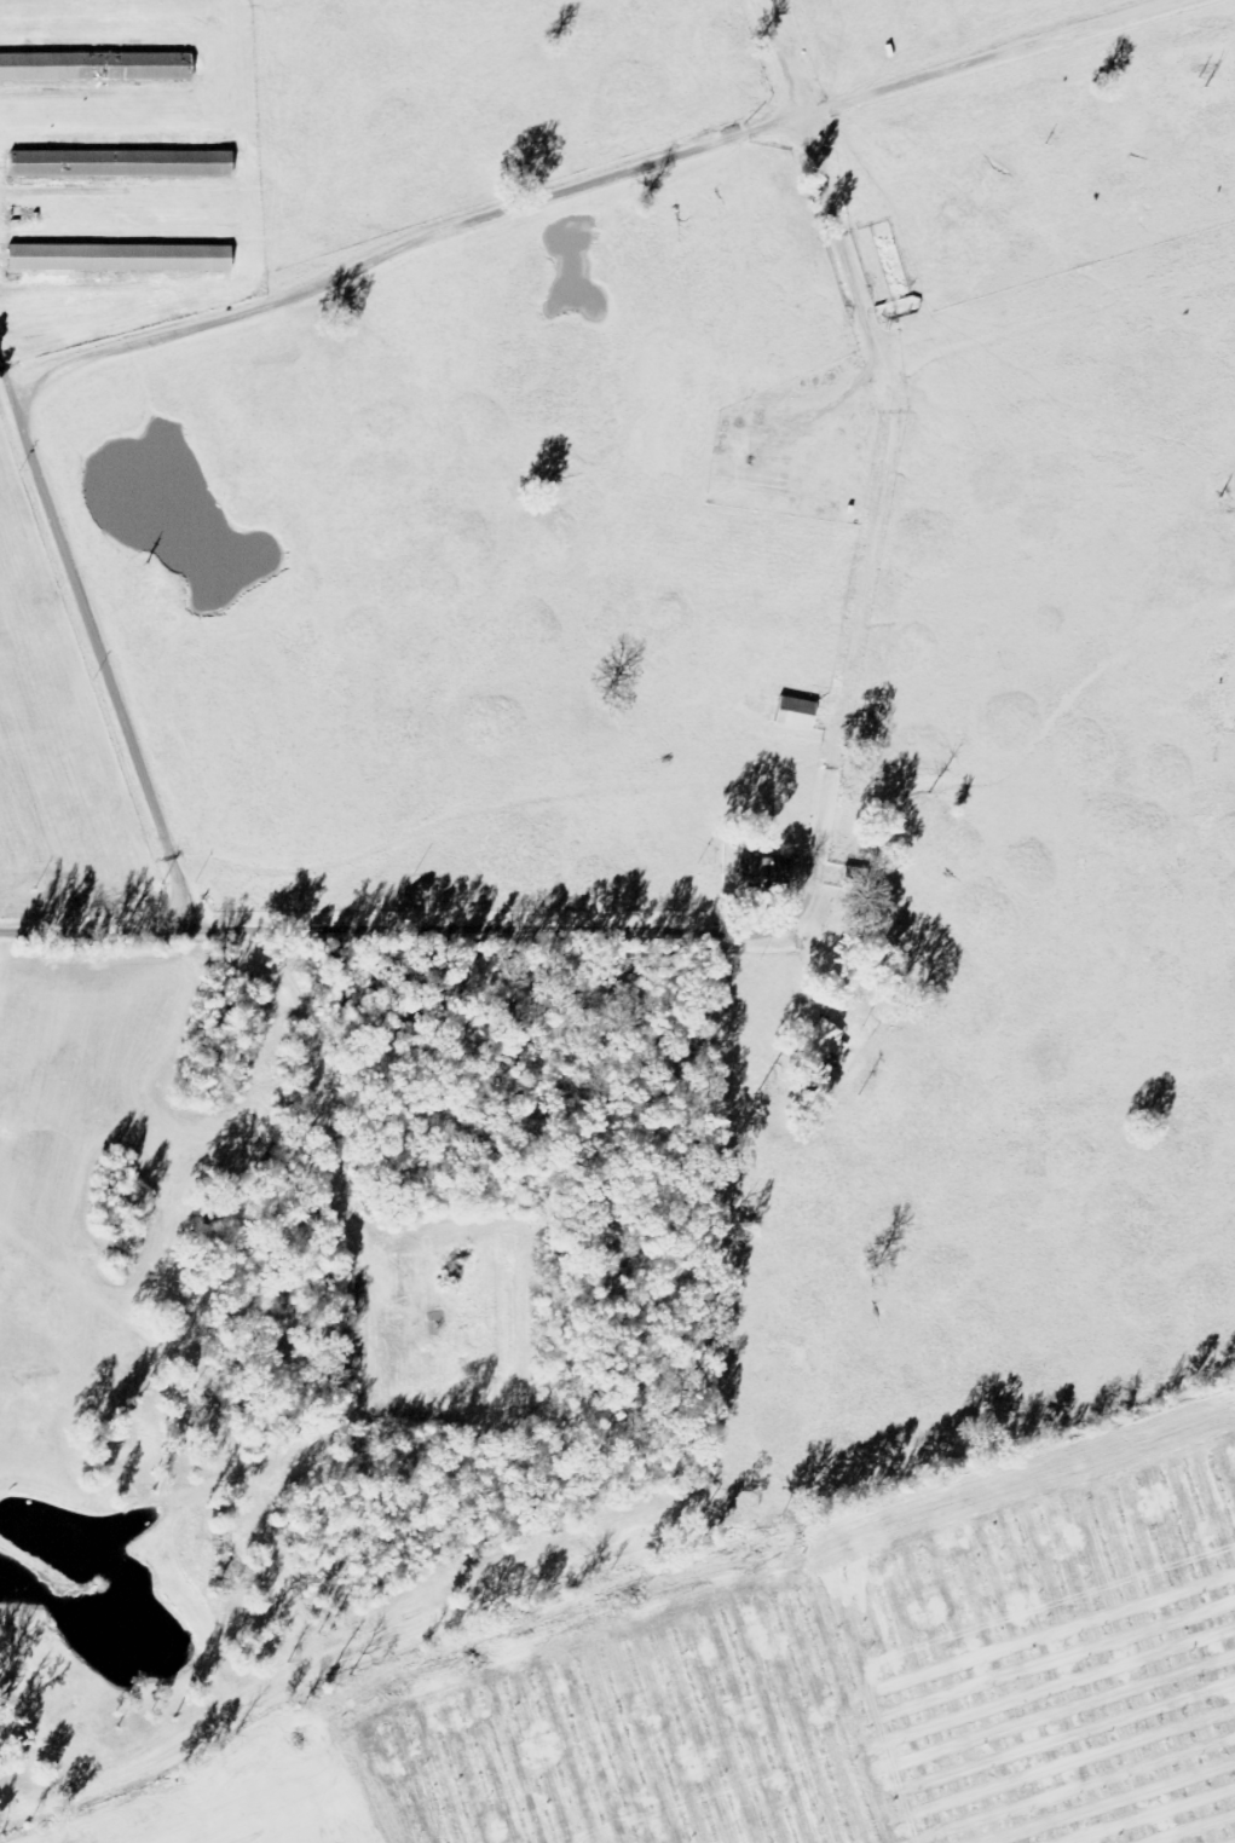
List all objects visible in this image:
building: (96, 68)
building: (120, 166)
road: (440, 226)
building: (119, 260)
road: (102, 657)
building: (795, 713)
building: (761, 874)
road: (800, 896)
building: (821, 1048)

